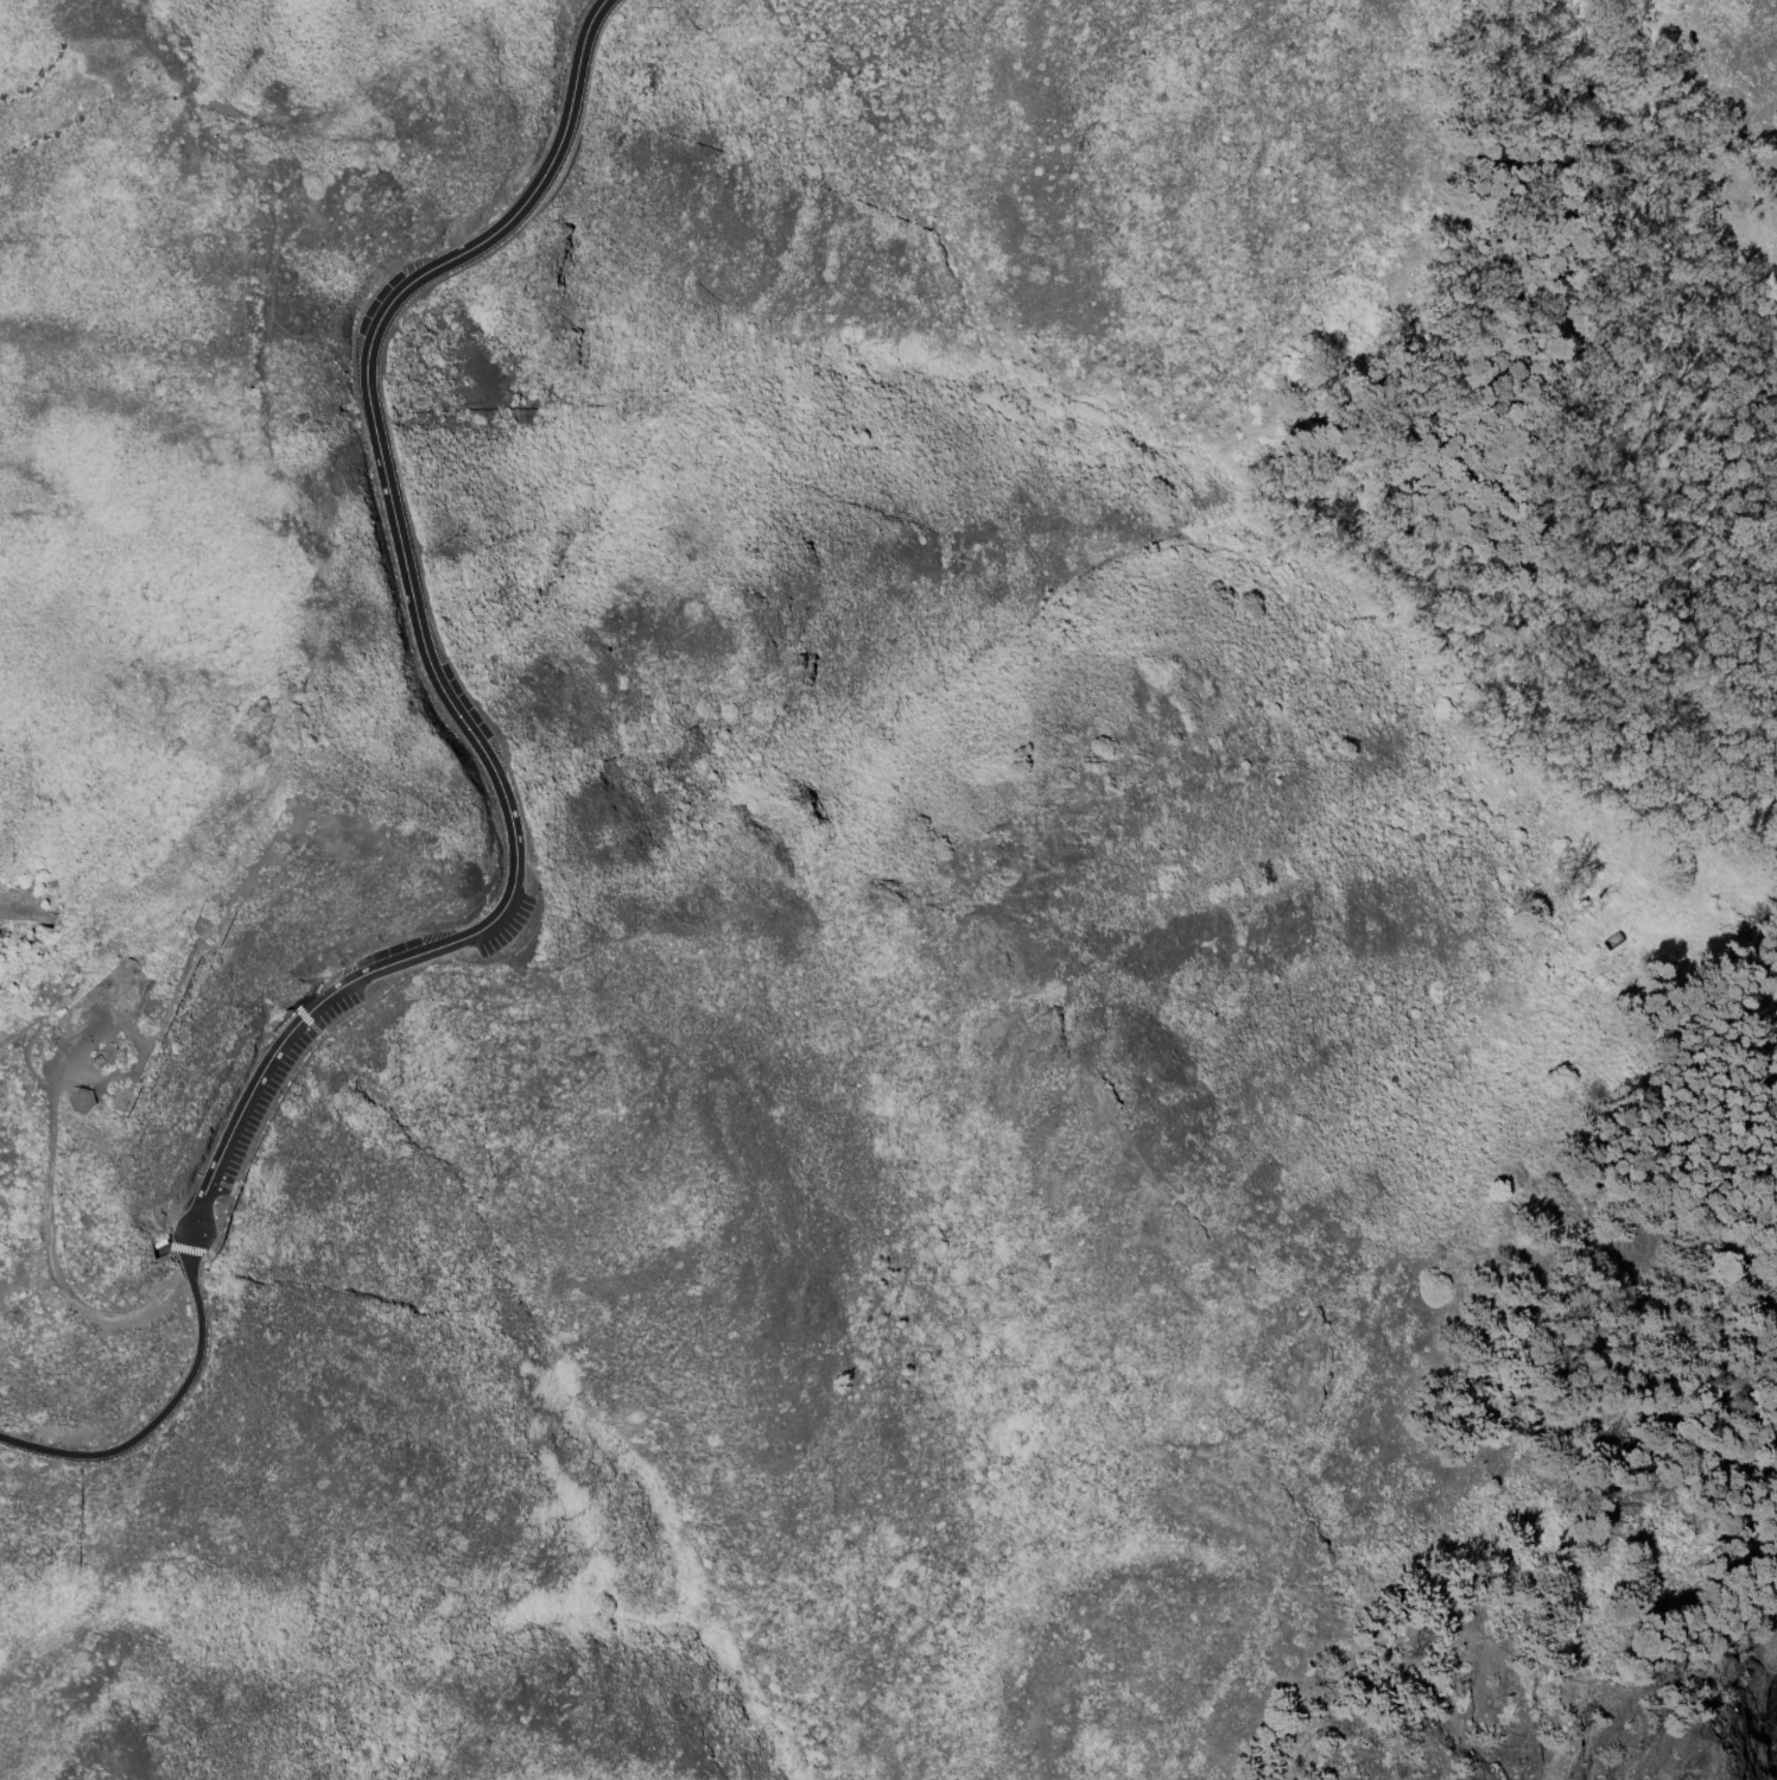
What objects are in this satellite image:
parking lot: (369, 306)
road: (430, 663)
road: (462, 683)
parking lot: (464, 698)
road: (1775, 718)
road: (234, 894)
road: (26, 913)
parking lot: (510, 923)
parking lot: (387, 952)
road: (303, 1009)
road: (32, 1034)
building: (81, 1097)
parking lot: (256, 1120)
road: (49, 1145)
road: (170, 1247)
road: (11, 1285)
road: (163, 1414)

